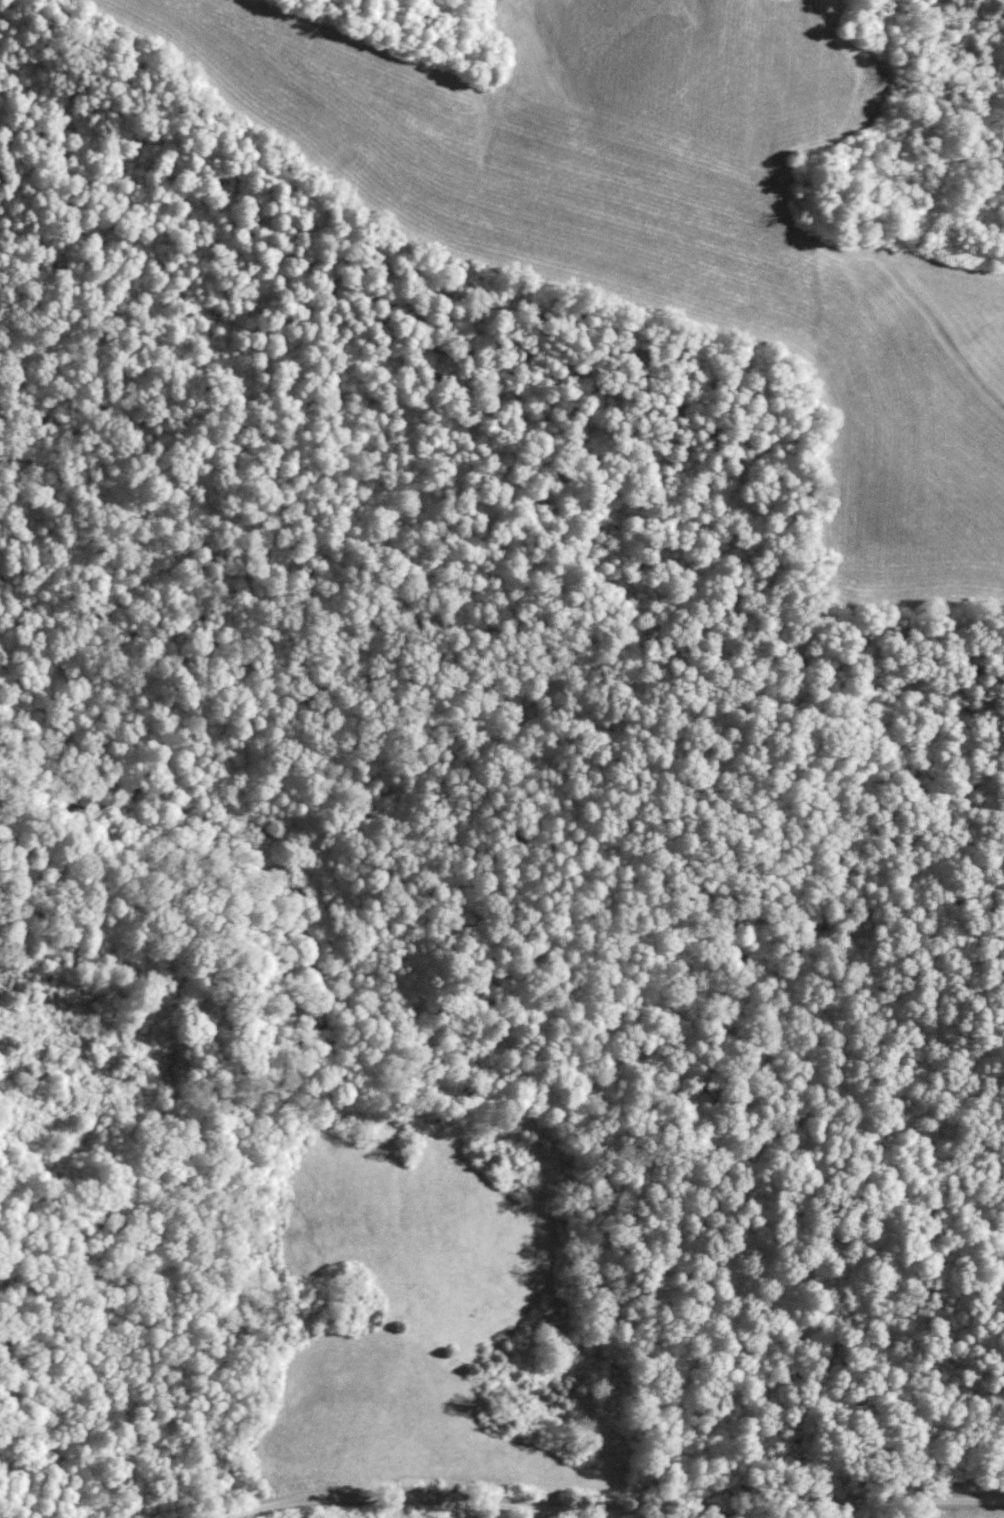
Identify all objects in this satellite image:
road: (610, 1512)

